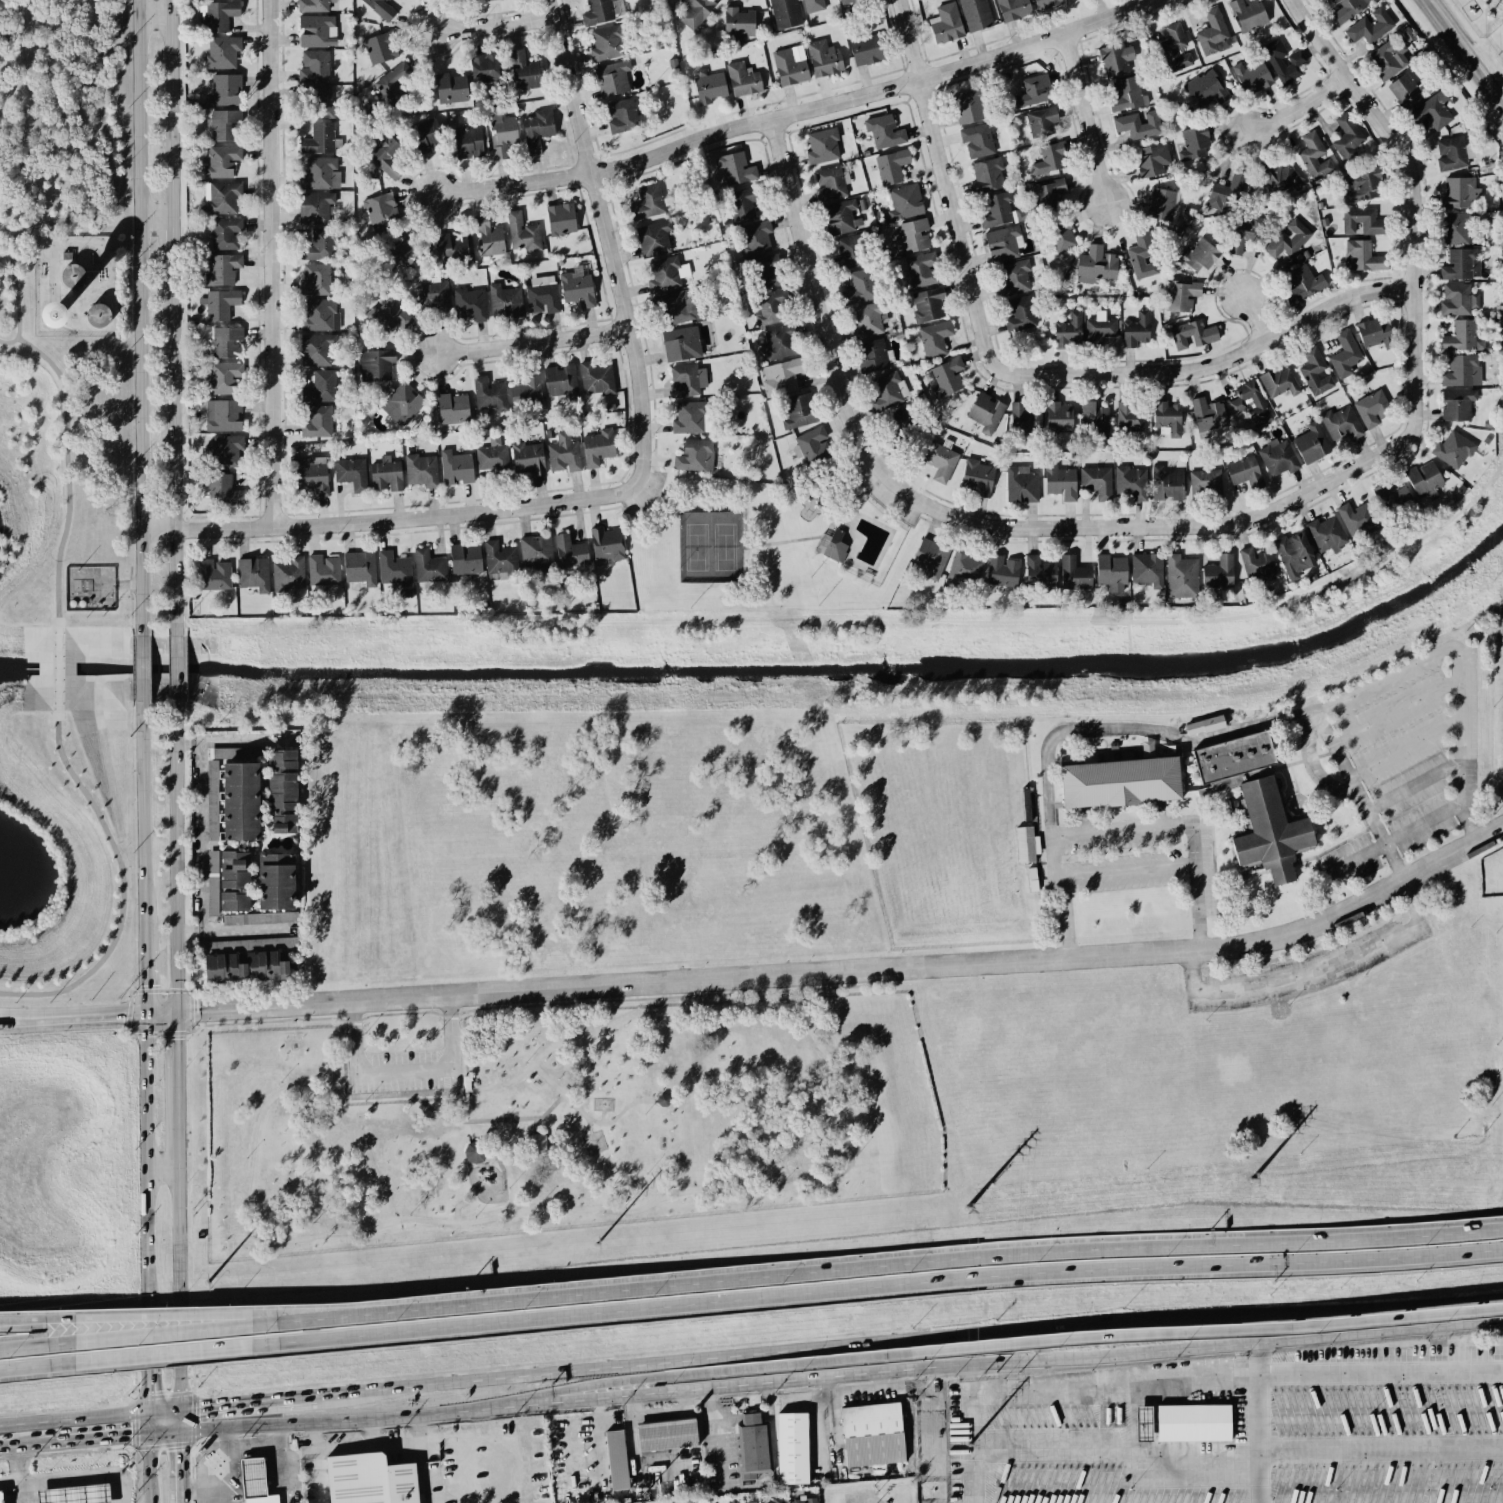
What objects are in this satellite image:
building: (487, 0)
building: (846, 1)
building: (1046, 3)
building: (312, 5)
building: (813, 5)
building: (1013, 9)
building: (1346, 9)
building: (384, 11)
building: (597, 12)
building: (695, 12)
building: (785, 13)
road: (153, 14)
building: (975, 14)
building: (220, 15)
building: (1248, 15)
building: (946, 23)
building: (737, 24)
road: (495, 25)
building: (1371, 26)
building: (316, 30)
building: (1211, 31)
building: (605, 44)
building: (378, 48)
building: (1174, 48)
building: (865, 50)
building: (222, 52)
road: (1462, 54)
building: (823, 58)
building: (1389, 58)
building: (1115, 59)
building: (1283, 61)
building: (790, 65)
building: (314, 67)
building: (484, 68)
building: (523, 71)
building: (1252, 75)
building: (612, 78)
building: (743, 80)
building: (451, 88)
building: (710, 88)
building: (1206, 88)
building: (389, 89)
building: (223, 90)
building: (1032, 91)
building: (1404, 91)
building: (1126, 94)
building: (320, 102)
building: (967, 106)
road: (1301, 108)
road: (801, 112)
building: (1432, 112)
building: (622, 116)
road: (1088, 119)
building: (1041, 122)
building: (223, 125)
building: (1137, 125)
building: (537, 130)
building: (884, 131)
building: (502, 133)
building: (424, 136)
building: (1347, 138)
park: (56, 139)
building: (319, 139)
building: (977, 140)
building: (468, 142)
building: (1193, 143)
building: (822, 146)
building: (1451, 153)
building: (385, 154)
building: (1314, 156)
building: (1049, 158)
building: (1152, 159)
building: (222, 161)
road: (941, 164)
building: (891, 166)
building: (735, 168)
building: (320, 174)
building: (987, 174)
building: (1280, 180)
building: (829, 184)
building: (1360, 185)
building: (1225, 193)
building: (1460, 193)
building: (1046, 196)
building: (222, 197)
building: (647, 202)
building: (904, 202)
building: (1161, 204)
building: (741, 205)
road: (108, 206)
building: (315, 208)
building: (380, 210)
building: (997, 210)
road: (154, 217)
road: (604, 217)
building: (840, 217)
building: (561, 219)
building: (1361, 221)
road: (1416, 226)
building: (1455, 228)
building: (226, 233)
building: (522, 233)
building: (1061, 235)
building: (1246, 235)
building: (911, 236)
building: (488, 237)
building: (755, 237)
building: (654, 238)
building: (1288, 239)
road: (70, 243)
building: (1003, 243)
building: (319, 245)
building: (451, 248)
building: (402, 252)
building: (848, 252)
building: (1198, 255)
building: (1142, 256)
building: (1364, 256)
road: (272, 264)
building: (1461, 264)
building: (1096, 265)
building: (222, 269)
building: (921, 269)
building: (764, 272)
road: (812, 272)
building: (663, 274)
building: (73, 276)
building: (1013, 278)
building: (315, 279)
building: (1302, 284)
building: (577, 287)
building: (858, 287)
building: (434, 295)
building: (542, 295)
building: (1181, 296)
building: (1457, 300)
building: (505, 301)
building: (220, 304)
building: (470, 304)
building: (928, 305)
building: (677, 307)
building: (767, 310)
building: (1018, 313)
building: (52, 315)
building: (319, 315)
building: (98, 316)
building: (388, 316)
road: (138, 317)
road: (170, 318)
road: (1252, 319)
building: (1069, 328)
building: (1099, 328)
building: (1136, 330)
building: (1374, 333)
building: (1192, 334)
building: (1462, 337)
building: (934, 338)
building: (226, 342)
road: (536, 342)
building: (779, 342)
building: (681, 344)
building: (316, 349)
building: (1345, 354)
building: (872, 355)
building: (375, 365)
road: (1194, 368)
building: (1462, 371)
building: (1315, 372)
building: (781, 376)
building: (224, 377)
building: (945, 377)
building: (596, 378)
building: (561, 381)
building: (684, 381)
building: (1279, 382)
building: (320, 387)
building: (527, 389)
building: (887, 391)
building: (489, 394)
building: (402, 403)
building: (1250, 403)
building: (1457, 404)
building: (453, 408)
building: (1372, 408)
building: (799, 411)
building: (986, 412)
building: (1207, 414)
building: (223, 415)
building: (1026, 416)
building: (1129, 416)
building: (1167, 416)
building: (1058, 417)
building: (1095, 417)
building: (688, 418)
building: (314, 421)
building: (1341, 423)
building: (1311, 443)
building: (811, 445)
building: (597, 447)
building: (1452, 449)
building: (223, 451)
building: (564, 453)
building: (492, 455)
building: (695, 456)
building: (1278, 457)
building: (528, 458)
building: (940, 461)
road: (66, 465)
building: (456, 467)
building: (421, 470)
building: (1244, 472)
building: (351, 473)
building: (312, 475)
building: (386, 476)
building: (977, 477)
building: (1096, 481)
building: (1205, 481)
building: (1060, 482)
building: (1130, 482)
building: (1166, 483)
building: (1021, 484)
building: (222, 489)
parking lot: (887, 492)
parking lot: (640, 493)
building: (1390, 494)
road: (414, 518)
building: (1356, 518)
road: (1096, 528)
building: (1326, 534)
road: (815, 539)
park: (767, 541)
building: (606, 544)
building: (832, 546)
park: (709, 548)
building: (536, 550)
building: (570, 552)
building: (1294, 554)
building: (930, 558)
building: (465, 559)
building: (500, 559)
building: (1257, 564)
building: (428, 566)
building: (965, 566)
building: (360, 567)
building: (394, 569)
building: (1147, 569)
building: (323, 570)
building: (1002, 571)
building: (1218, 572)
building: (253, 573)
building: (1111, 573)
building: (288, 574)
building: (1039, 574)
building: (1074, 574)
building: (214, 575)
building: (1180, 577)
road: (1455, 652)
river: (18, 667)
river: (57, 667)
river: (810, 667)
road: (56, 668)
road: (139, 669)
road: (175, 669)
road: (1393, 713)
building: (1204, 725)
road: (1075, 731)
road: (187, 743)
road: (1402, 751)
building: (1234, 761)
road: (1312, 765)
building: (1120, 782)
road: (1411, 790)
building: (282, 791)
road: (200, 794)
road: (1358, 798)
building: (240, 801)
road: (141, 811)
road: (1468, 824)
road: (1123, 832)
building: (1269, 832)
park: (64, 835)
road: (1393, 840)
building: (1026, 845)
road: (175, 856)
road: (1128, 874)
building: (234, 881)
building: (276, 881)
building: (212, 882)
road: (1197, 886)
road: (122, 890)
road: (1409, 904)
building: (244, 919)
road: (234, 931)
road: (143, 966)
road: (905, 966)
building: (247, 967)
road: (1286, 980)
traffic signals: (144, 984)
road: (228, 1009)
traffic signals: (197, 1011)
road: (160, 1013)
traffic signals: (122, 1015)
road: (83, 1017)
road: (12, 1018)
road: (12, 1022)
traffic signals: (176, 1038)
road: (402, 1072)
parking lot: (403, 1073)
road: (176, 1080)
road: (405, 1096)
building: (664, 1098)
road: (603, 1115)
road: (587, 1117)
road: (488, 1120)
park: (559, 1122)
road: (536, 1124)
road: (589, 1125)
road: (469, 1132)
building: (537, 1142)
building: (476, 1150)
road: (495, 1155)
road: (144, 1158)
road: (161, 1169)
road: (502, 1173)
power tower: (1251, 1181)
road: (704, 1188)
road: (461, 1204)
power tower: (968, 1208)
power tower: (597, 1244)
road: (997, 1259)
road: (178, 1278)
power tower: (209, 1284)
road: (875, 1290)
road: (371, 1309)
railway: (751, 1309)
road: (166, 1315)
road: (42, 1317)
road: (1235, 1318)
road: (372, 1319)
road: (1215, 1332)
road: (170, 1339)
road: (1236, 1345)
road: (1440, 1347)
road: (969, 1350)
road: (44, 1351)
road: (170, 1366)
road: (924, 1367)
road: (1380, 1367)
road: (146, 1369)
road: (611, 1369)
road: (701, 1374)
road: (44, 1378)
road: (970, 1379)
road: (1113, 1381)
road: (678, 1391)
road: (854, 1391)
traffic signals: (147, 1393)
road: (216, 1404)
traffic signals: (199, 1407)
road: (163, 1410)
road: (1256, 1410)
road: (437, 1415)
road: (1130, 1417)
road: (73, 1418)
building: (1143, 1423)
building: (1193, 1423)
road: (287, 1424)
road: (164, 1434)
road: (715, 1434)
building: (872, 1434)
building: (666, 1435)
traffic signals: (129, 1438)
road: (87, 1441)
building: (753, 1446)
road: (13, 1448)
building: (792, 1448)
road: (971, 1449)
traffic signals: (180, 1450)
road: (251, 1451)
road: (1237, 1454)
road: (180, 1456)
building: (616, 1459)
road: (148, 1469)
road: (19, 1475)
road: (80, 1476)
building: (370, 1480)
road: (10, 1481)
building: (255, 1482)
road: (202, 1488)
building: (75, 1494)
building: (1, 1497)
building: (778, 1499)
building: (804, 1500)
building: (749, 1502)

